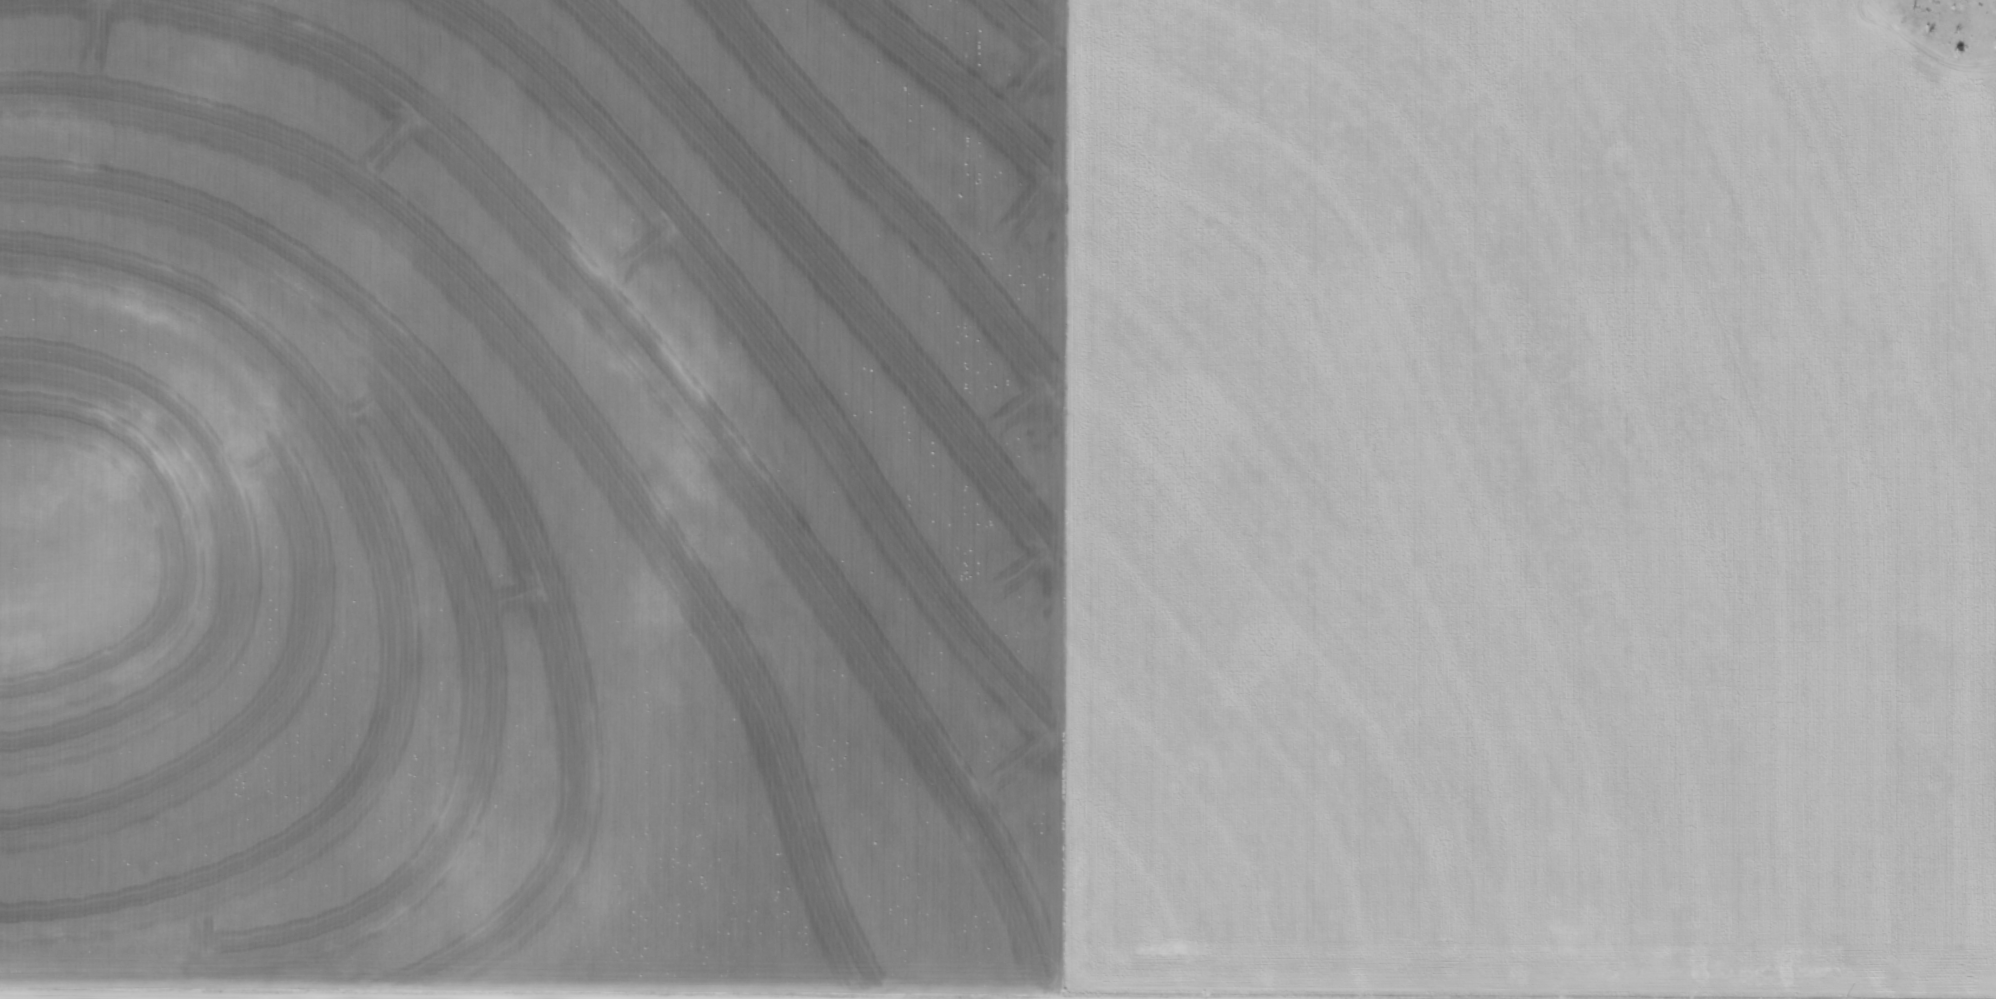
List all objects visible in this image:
road: (24, 998)

